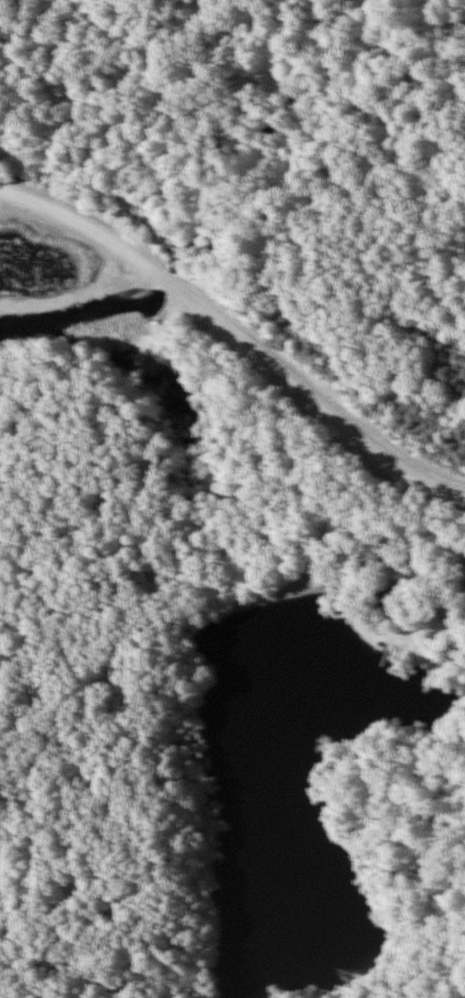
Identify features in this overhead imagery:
road: (236, 338)
park: (223, 547)
building: (385, 600)

